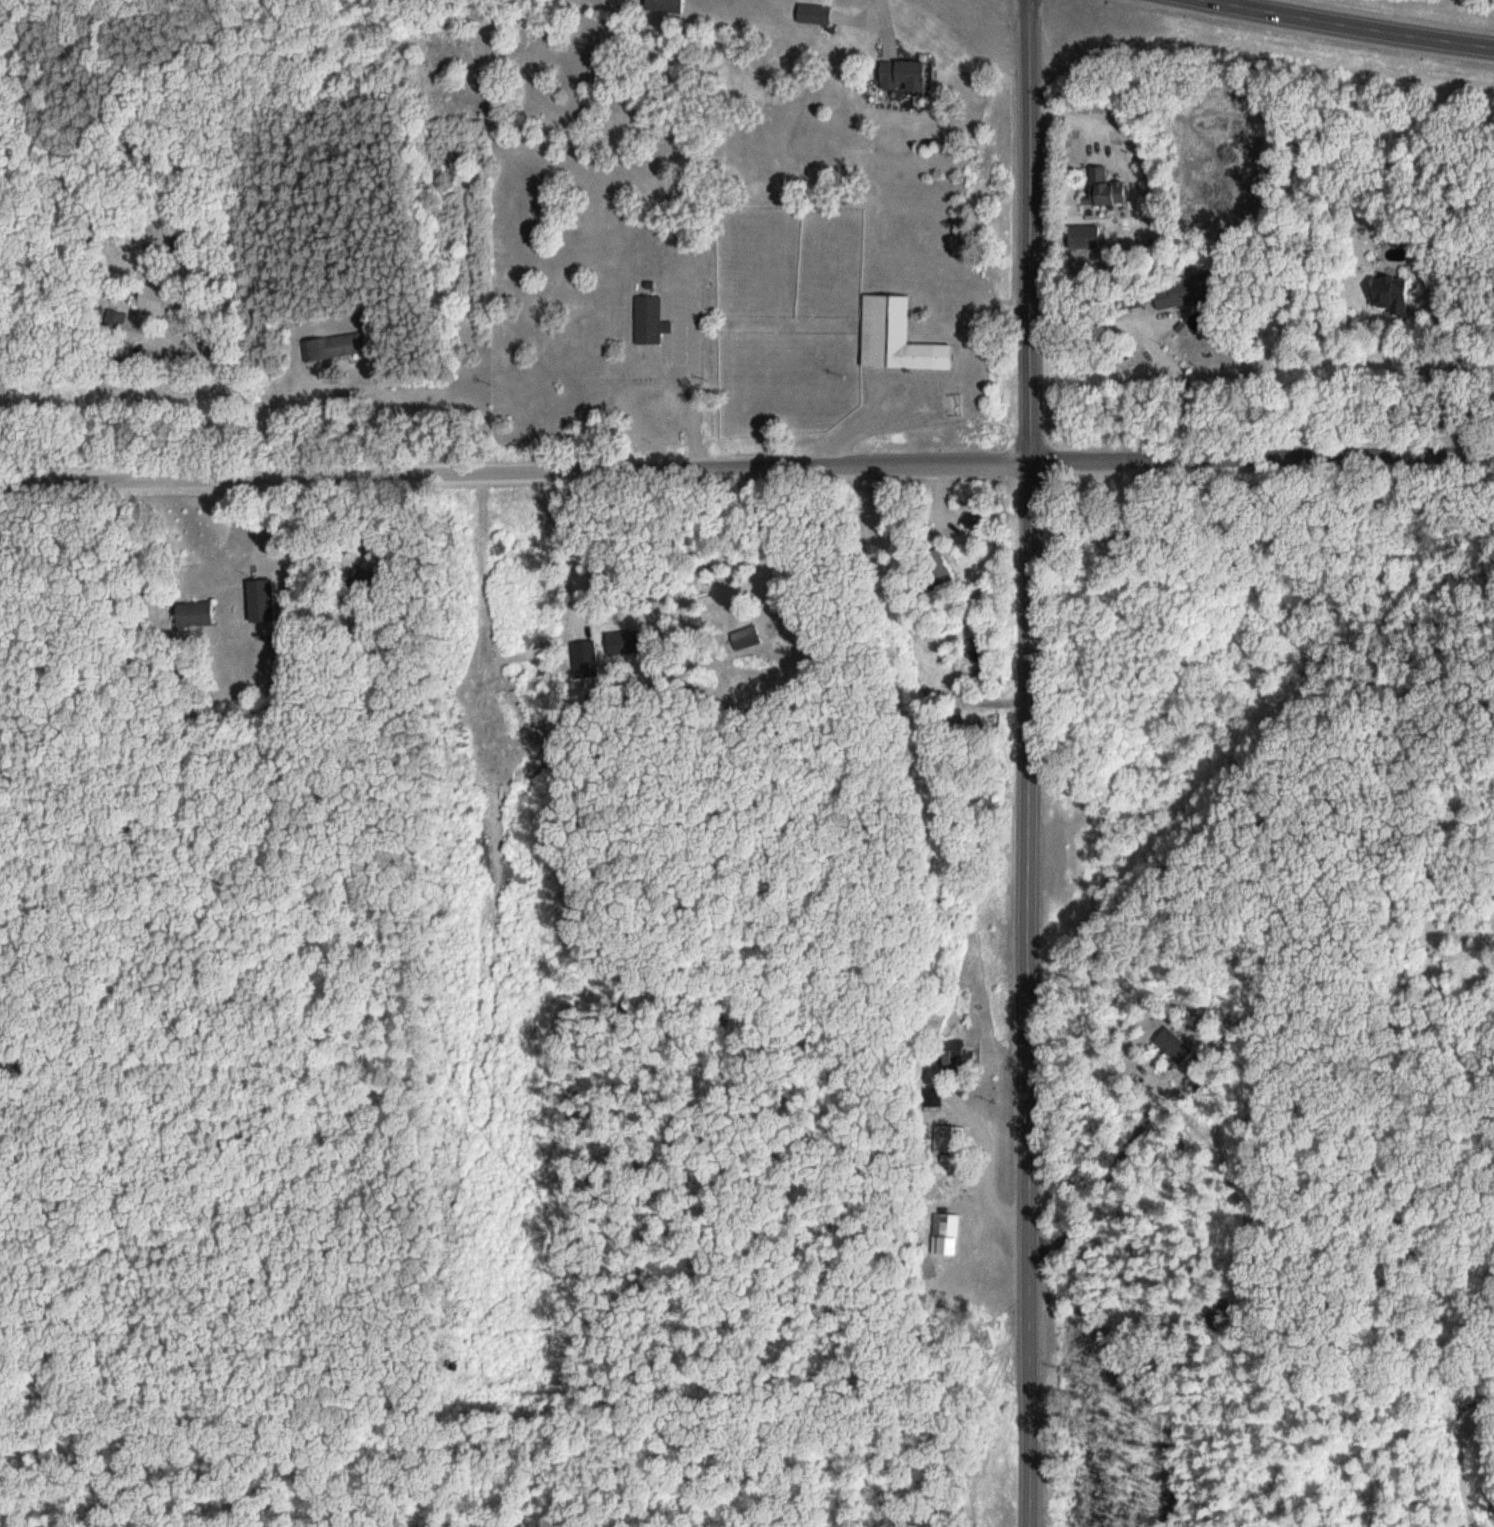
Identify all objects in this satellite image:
building: (667, 6)
building: (817, 14)
road: (1353, 25)
building: (905, 75)
building: (1110, 189)
building: (1087, 236)
building: (1394, 290)
building: (651, 320)
building: (900, 336)
building: (330, 347)
road: (747, 468)
building: (198, 613)
building: (748, 639)
building: (585, 654)
building: (958, 721)
road: (1037, 763)
building: (963, 1052)
building: (950, 1140)

